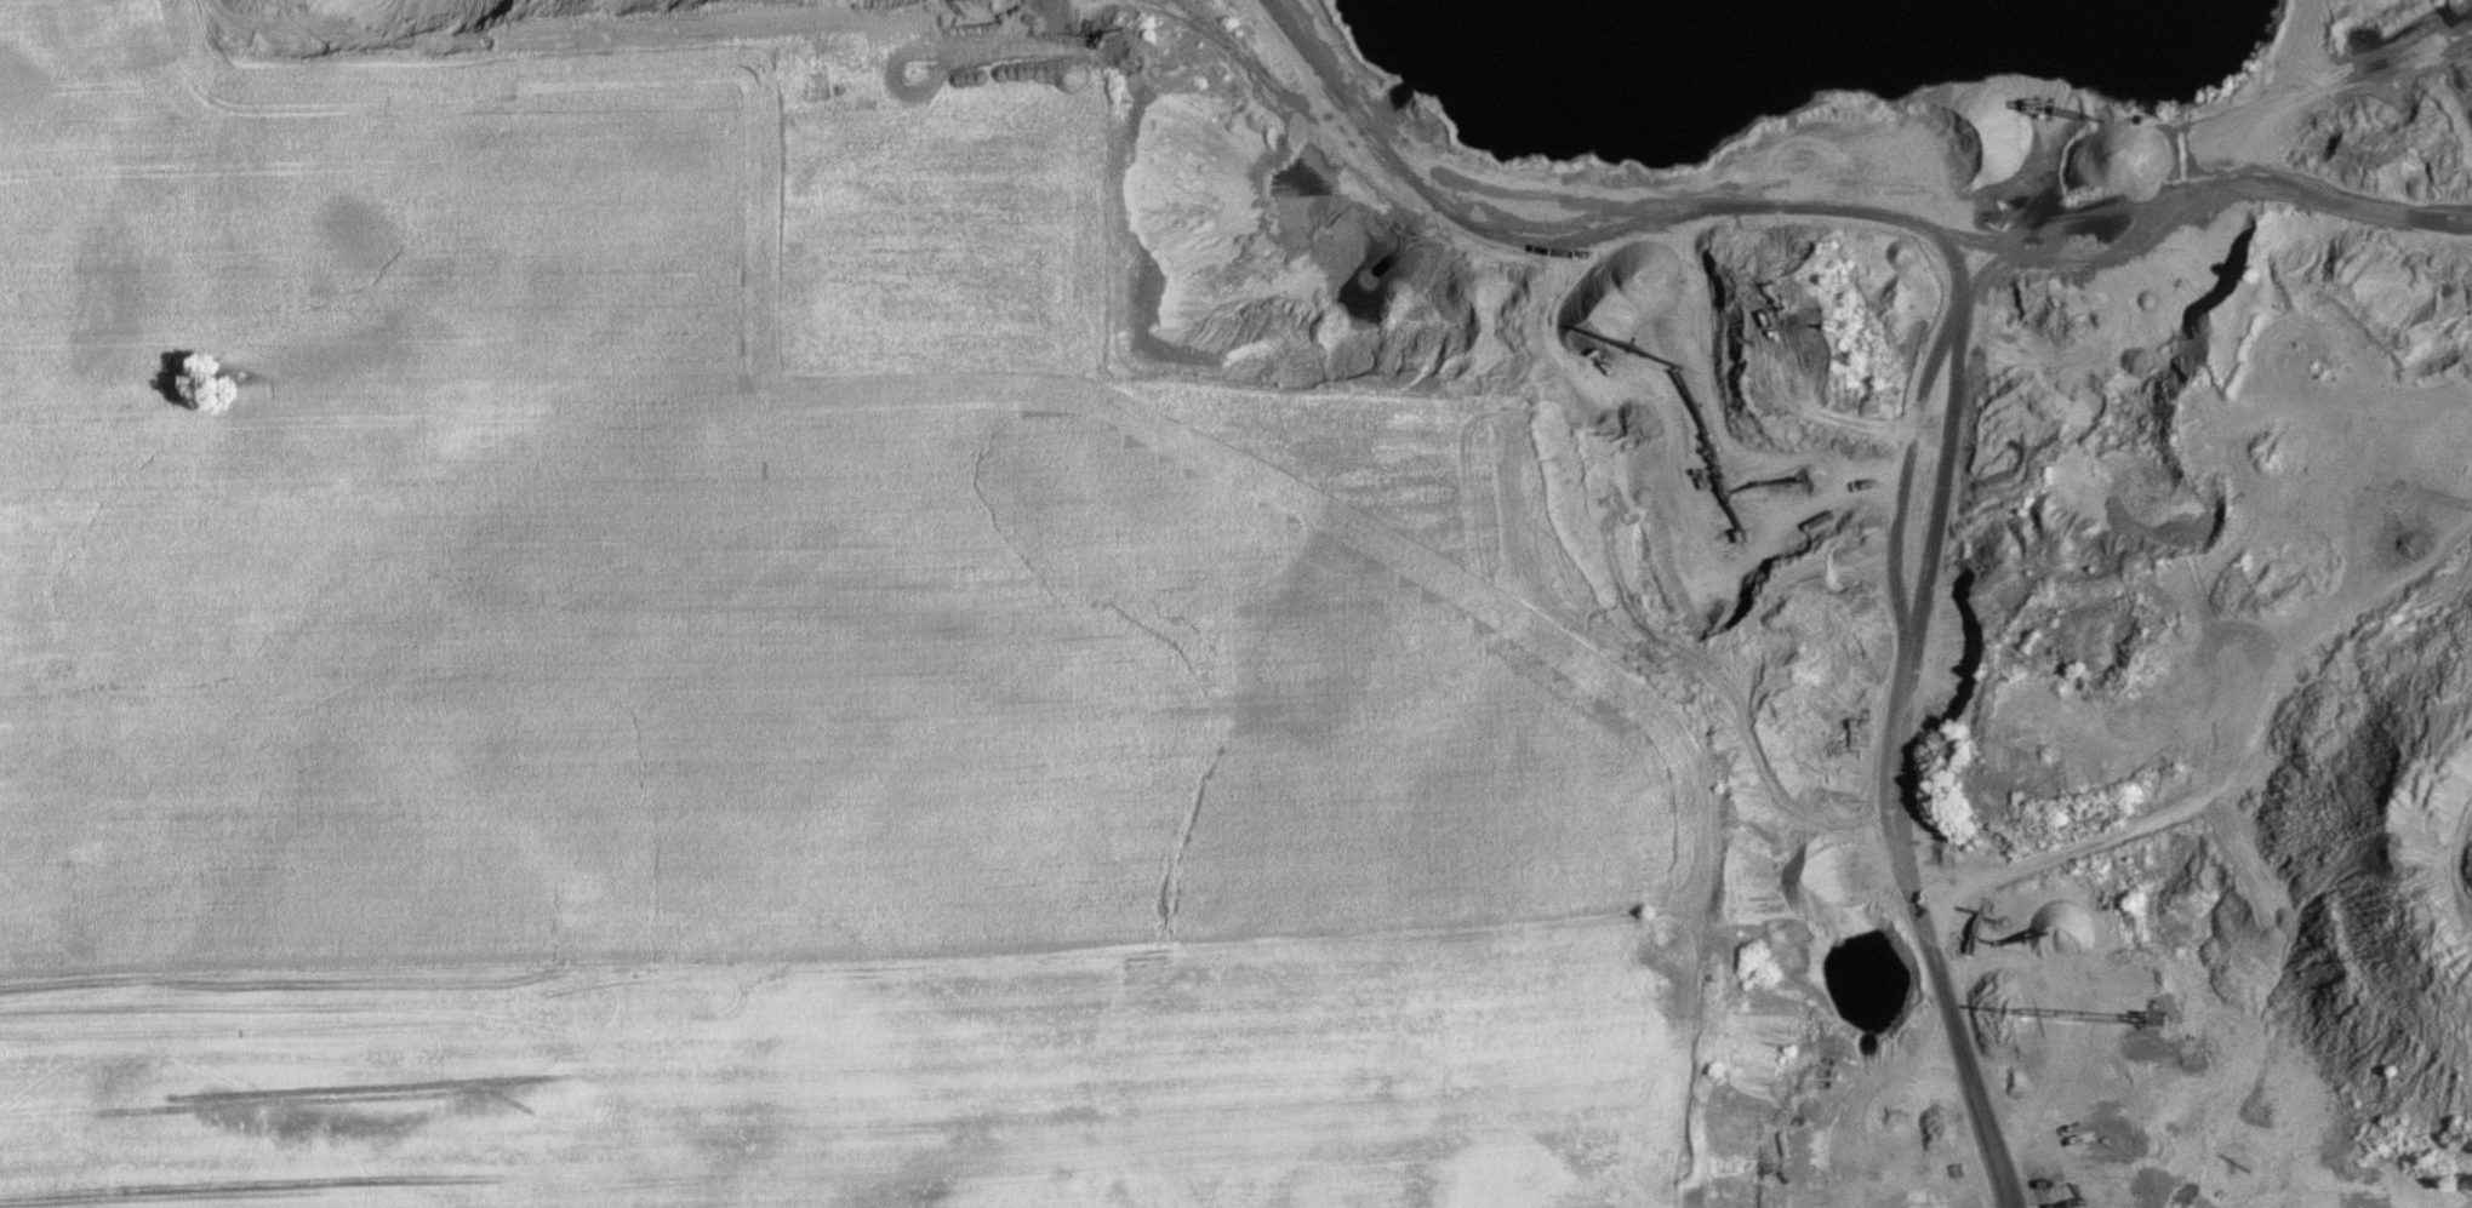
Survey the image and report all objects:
building: (2397, 433)
quarry: (1954, 521)
road: (1092, 944)

